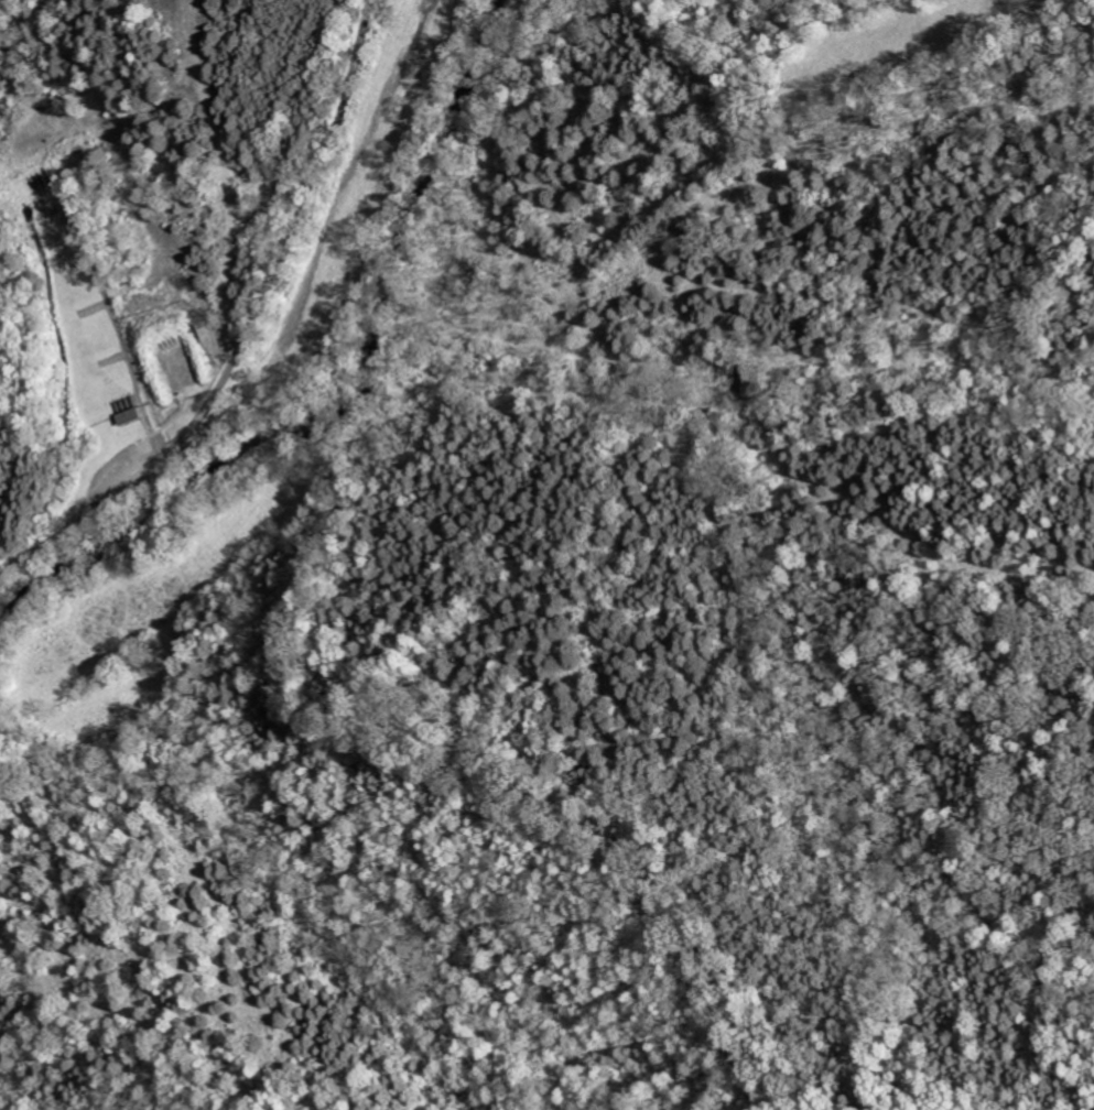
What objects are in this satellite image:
park: (80, 301)
road: (251, 319)
road: (111, 328)
building: (129, 417)
road: (6, 565)

